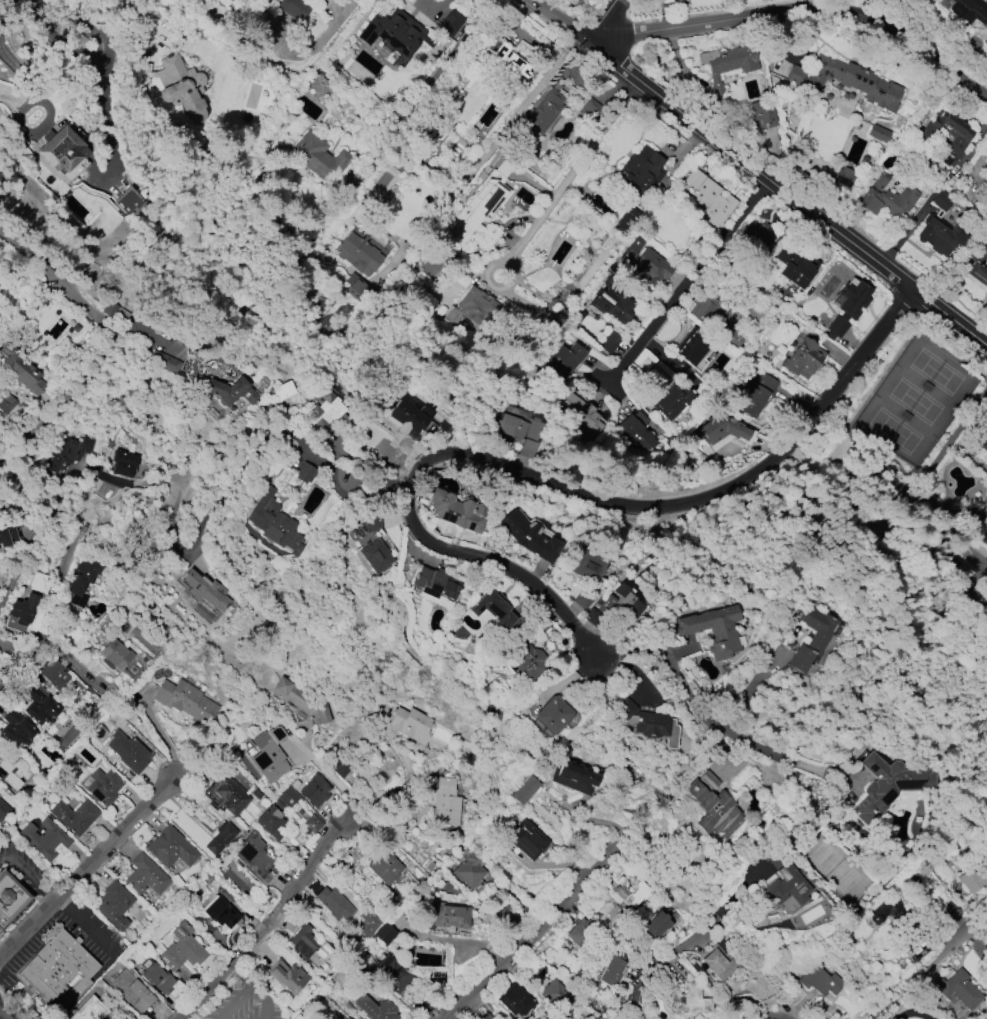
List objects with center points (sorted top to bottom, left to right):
building: (344, 0)
building: (666, 0)
building: (676, 0)
building: (222, 2)
building: (291, 7)
building: (969, 10)
road: (800, 17)
road: (144, 20)
road: (602, 22)
building: (448, 23)
building: (392, 32)
building: (508, 62)
building: (726, 65)
road: (460, 68)
building: (143, 72)
building: (844, 80)
building: (316, 82)
building: (181, 87)
road: (986, 97)
building: (544, 112)
building: (762, 115)
road: (508, 120)
building: (878, 134)
building: (945, 136)
building: (57, 150)
building: (319, 157)
building: (985, 168)
building: (76, 169)
road: (757, 170)
building: (641, 171)
building: (843, 177)
building: (985, 177)
road: (569, 179)
building: (883, 197)
building: (708, 199)
building: (941, 201)
building: (128, 202)
building: (478, 213)
building: (941, 234)
building: (758, 236)
building: (984, 243)
building: (361, 253)
building: (796, 266)
building: (647, 268)
building: (978, 273)
road: (695, 276)
building: (612, 304)
building: (707, 308)
building: (847, 309)
building: (473, 310)
building: (731, 336)
building: (608, 341)
road: (108, 345)
building: (693, 346)
building: (803, 359)
building: (565, 360)
building: (164, 362)
building: (21, 372)
building: (229, 391)
building: (755, 394)
building: (673, 401)
building: (7, 404)
building: (325, 408)
building: (583, 412)
building: (410, 417)
building: (375, 427)
building: (518, 427)
building: (635, 431)
building: (723, 433)
building: (984, 442)
building: (528, 448)
building: (70, 452)
building: (123, 463)
road: (361, 472)
building: (302, 473)
road: (560, 485)
road: (354, 486)
building: (458, 511)
building: (973, 515)
building: (270, 524)
building: (9, 534)
building: (530, 537)
building: (371, 543)
building: (587, 567)
building: (84, 580)
building: (435, 584)
building: (202, 593)
building: (580, 600)
building: (25, 608)
building: (493, 610)
building: (615, 614)
road: (40, 623)
building: (714, 631)
building: (811, 639)
road: (14, 652)
building: (115, 654)
road: (68, 661)
building: (532, 661)
building: (55, 674)
road: (692, 693)
road: (754, 693)
building: (186, 701)
building: (302, 705)
building: (40, 707)
building: (552, 715)
building: (643, 721)
building: (409, 724)
building: (16, 729)
road: (159, 733)
building: (128, 752)
building: (269, 754)
building: (14, 772)
building: (573, 777)
road: (335, 781)
building: (887, 786)
building: (103, 787)
building: (314, 790)
building: (523, 790)
building: (230, 796)
building: (288, 797)
road: (377, 799)
building: (446, 802)
building: (712, 807)
building: (3, 809)
building: (74, 816)
building: (270, 822)
building: (313, 823)
road: (341, 831)
building: (220, 837)
building: (519, 838)
building: (44, 839)
building: (171, 848)
building: (254, 854)
road: (84, 867)
building: (384, 867)
building: (464, 872)
road: (26, 873)
building: (145, 876)
building: (972, 879)
building: (789, 888)
building: (633, 894)
building: (10, 898)
building: (334, 903)
building: (115, 905)
building: (221, 913)
building: (884, 914)
building: (950, 914)
building: (446, 917)
road: (80, 922)
building: (367, 923)
building: (656, 925)
building: (0, 931)
road: (539, 931)
road: (263, 933)
building: (385, 933)
building: (579, 933)
road: (460, 942)
building: (309, 945)
building: (914, 950)
building: (183, 951)
building: (720, 964)
road: (930, 966)
building: (59, 972)
building: (611, 972)
road: (668, 972)
road: (240, 974)
building: (391, 974)
building: (286, 976)
building: (821, 979)
building: (157, 983)
building: (131, 991)
building: (961, 991)
building: (555, 994)
building: (684, 998)
road: (265, 999)
road: (231, 1001)
building: (509, 1002)
parking lot: (242, 1003)
building: (89, 1010)
building: (374, 1010)
road: (4, 1015)
building: (121, 1018)
building: (347, 1018)
building: (358, 1018)
building: (485, 1018)
road: (785, 1018)

